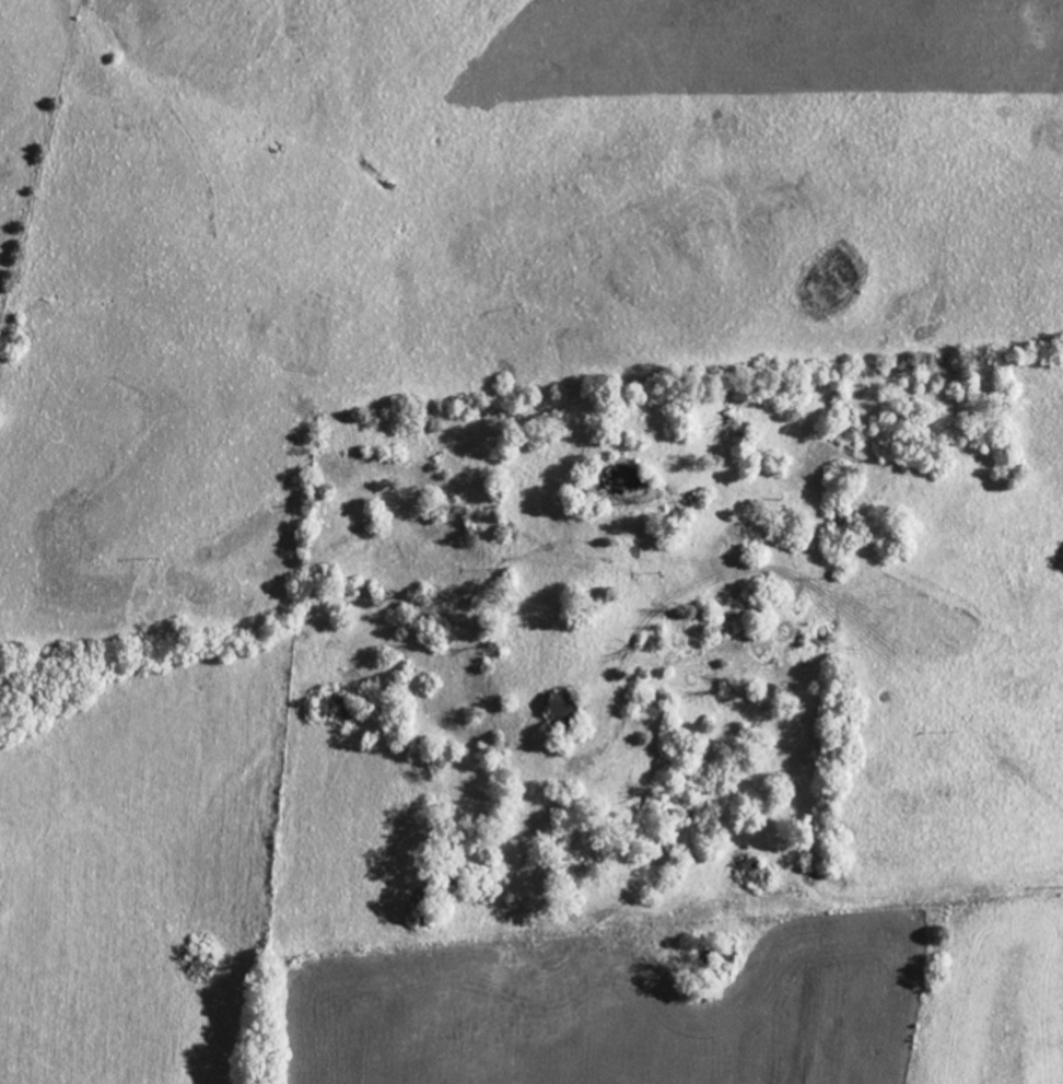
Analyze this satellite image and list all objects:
building: (562, 706)

